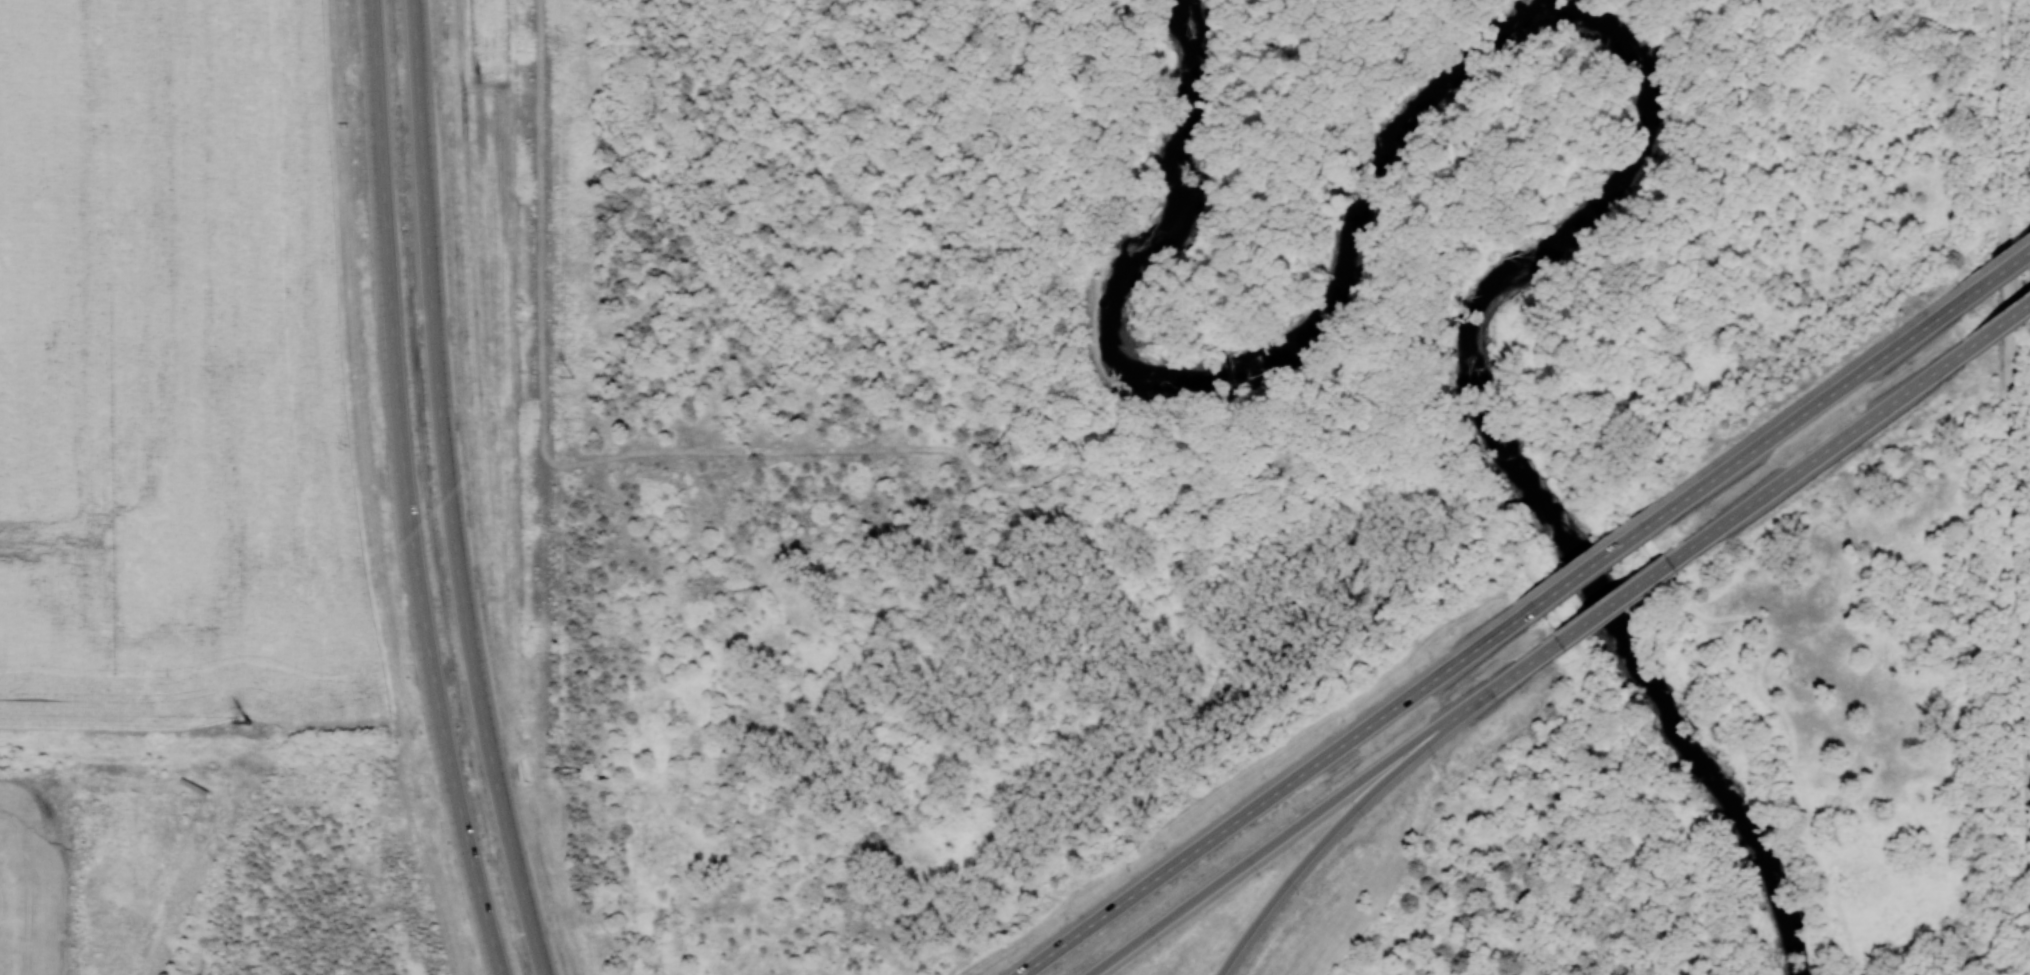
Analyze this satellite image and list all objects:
river: (1623, 43)
road: (1681, 58)
road: (976, 165)
road: (1995, 275)
road: (1998, 327)
park: (1422, 374)
crop: (174, 375)
road: (395, 377)
power tower: (572, 377)
road: (1811, 407)
road: (2009, 414)
road: (1368, 422)
road: (1827, 450)
road: (451, 491)
road: (1630, 528)
road: (1591, 564)
road: (1616, 600)
road: (1554, 611)
road: (1596, 677)
power tower: (247, 721)
road: (1268, 795)
road: (1367, 797)
road: (1317, 813)
road: (1639, 818)
road: (472, 863)
road: (1669, 954)

